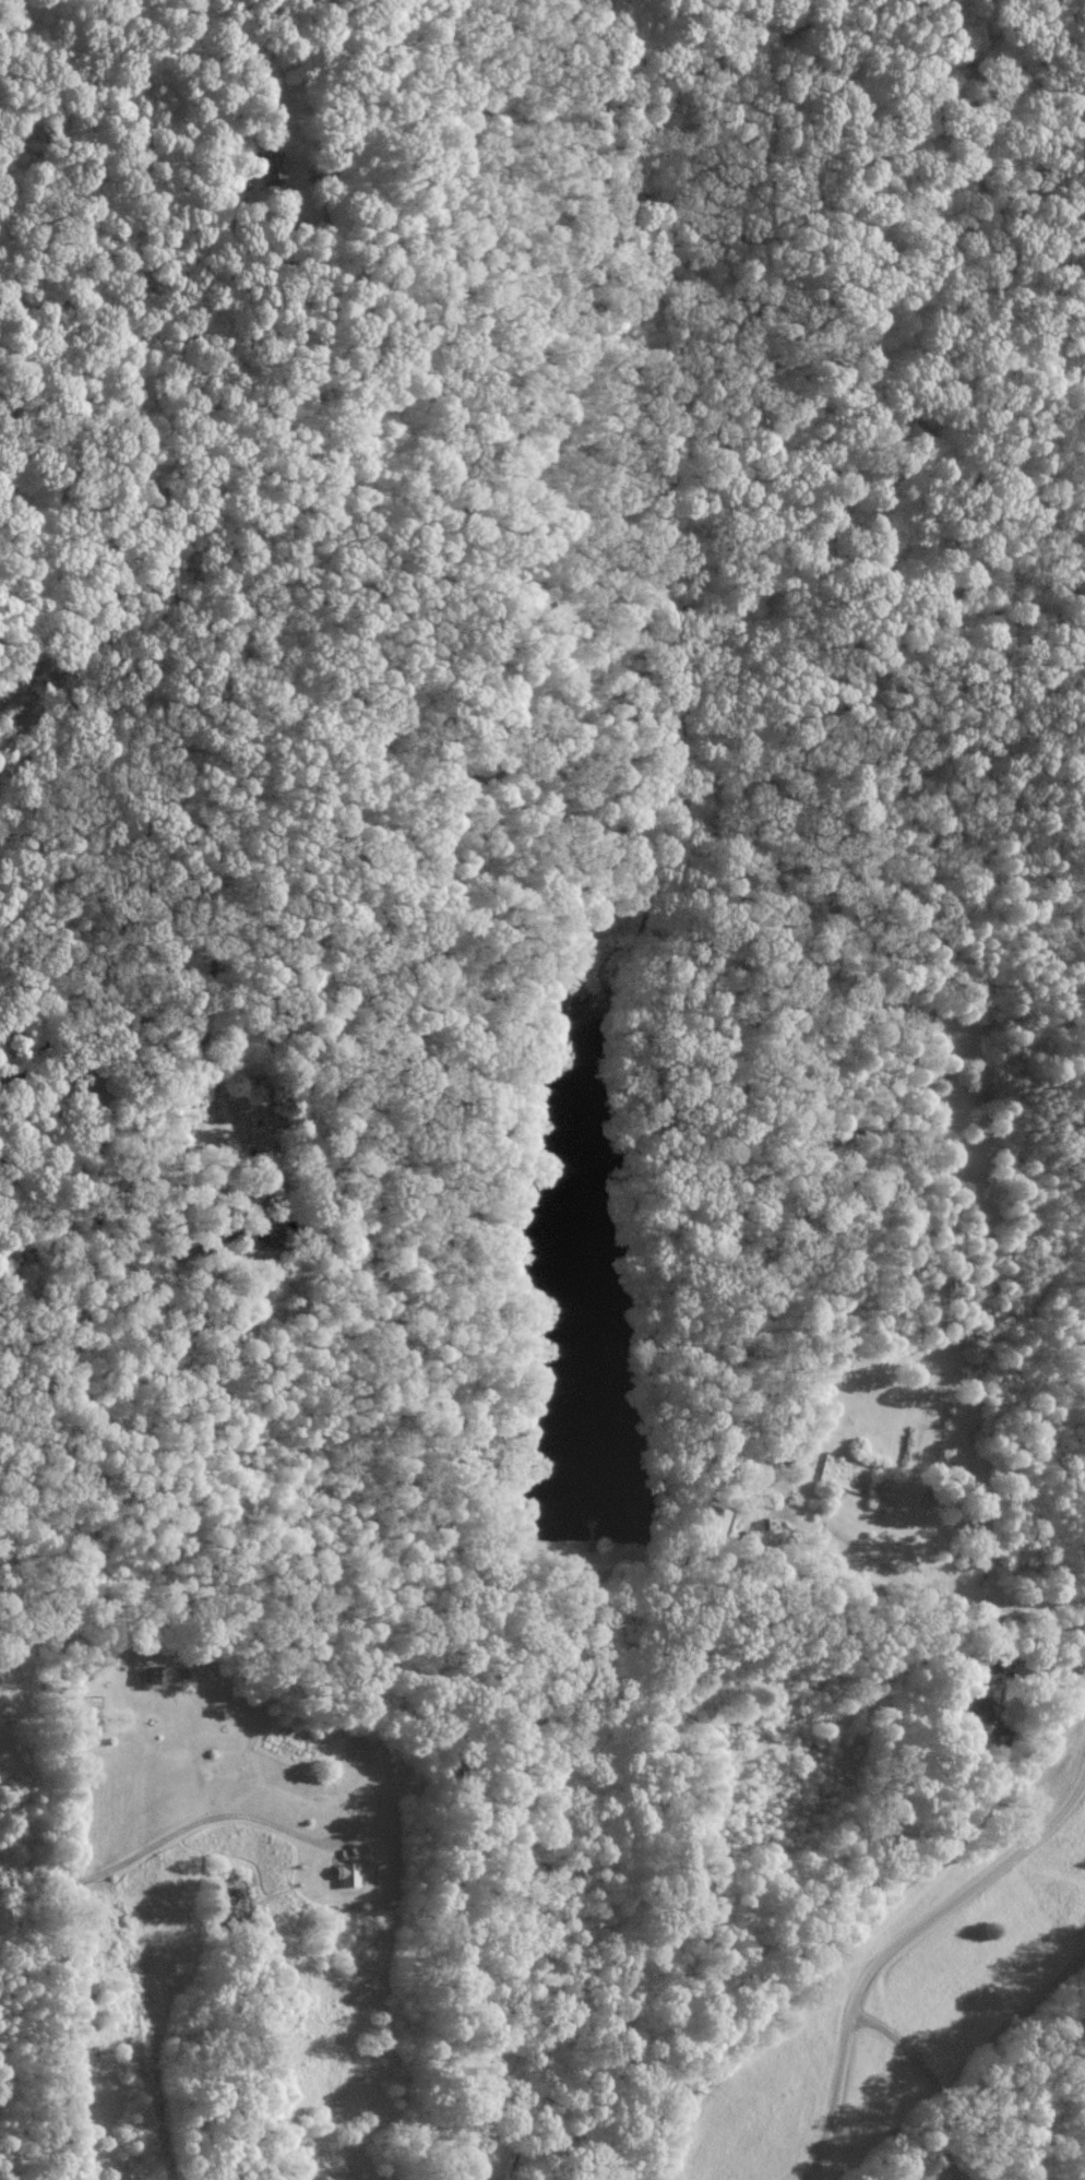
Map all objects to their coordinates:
building: (266, 164)
road: (199, 1088)
building: (157, 1675)
building: (986, 1720)
road: (190, 1823)
building: (344, 1872)
road: (898, 1952)

